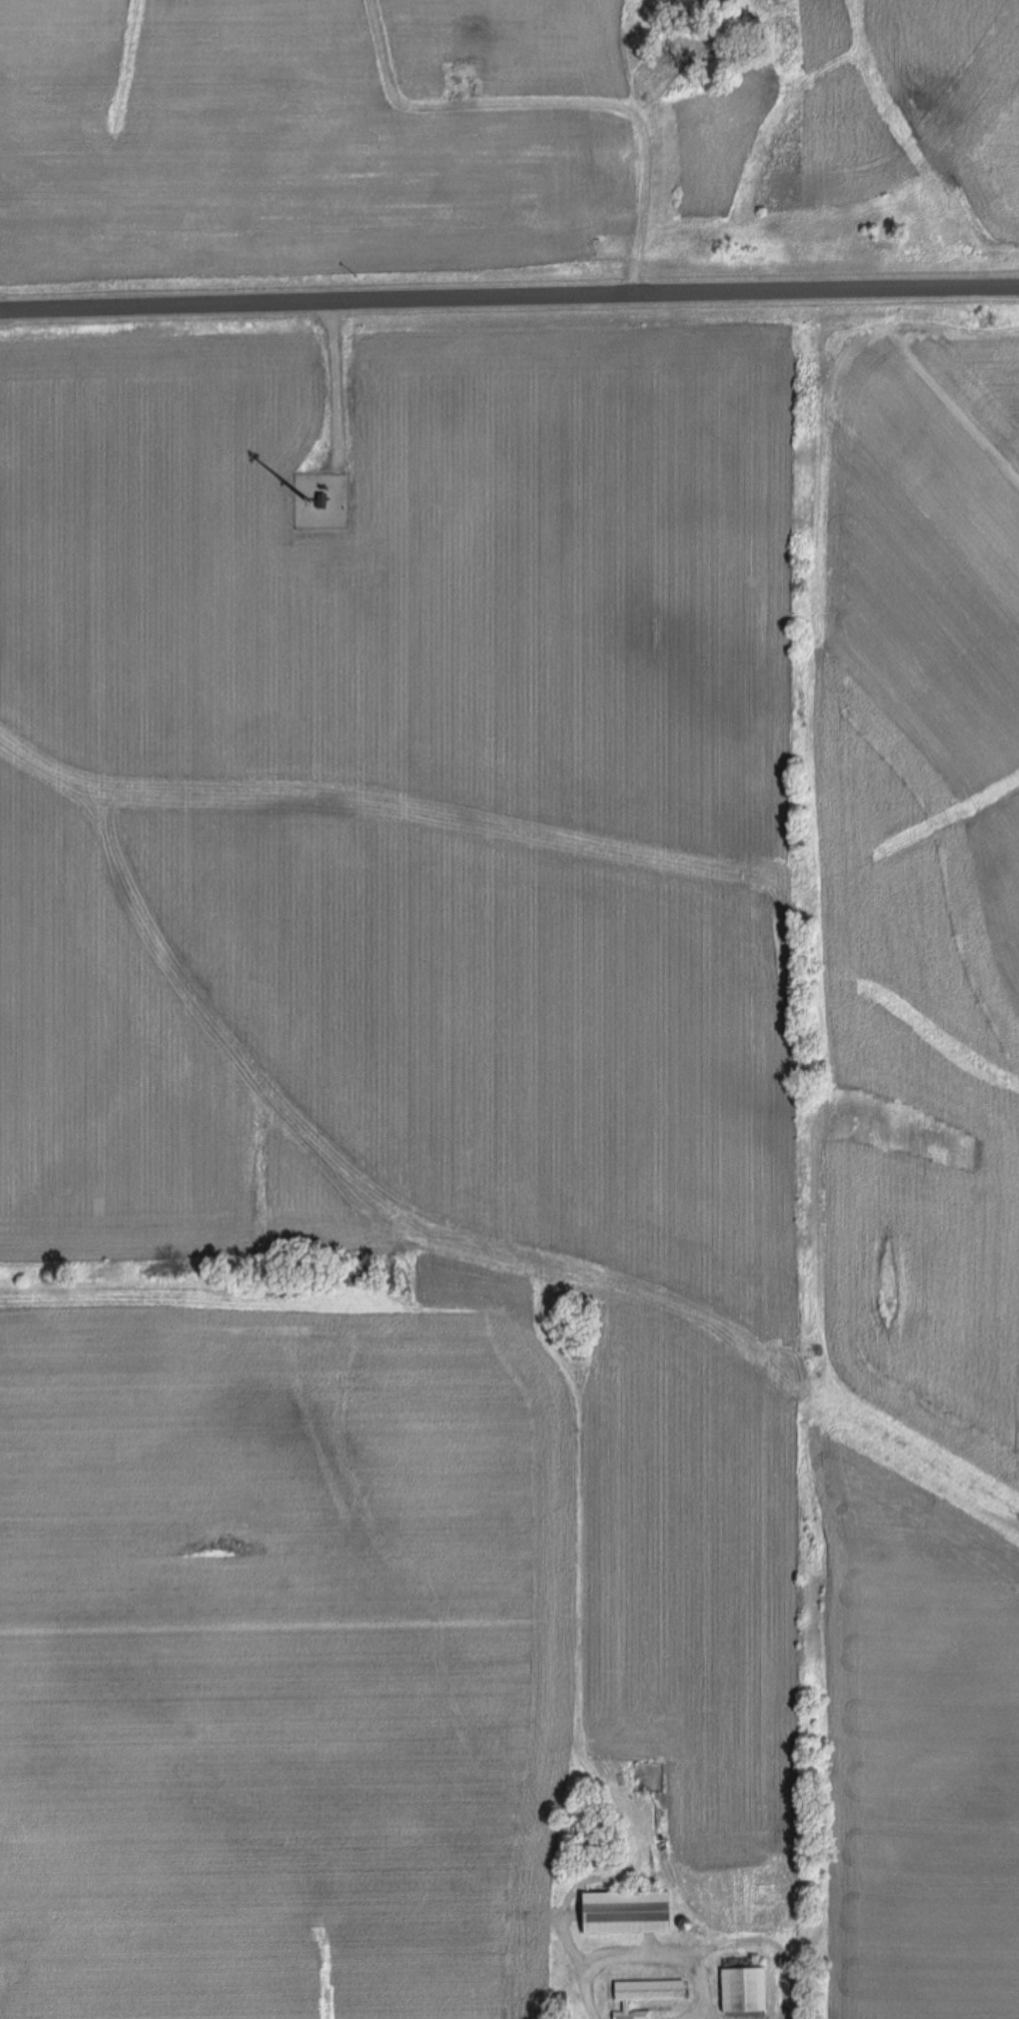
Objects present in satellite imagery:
road: (509, 301)
building: (628, 1913)
building: (745, 1990)
building: (647, 1996)
building: (561, 2003)

